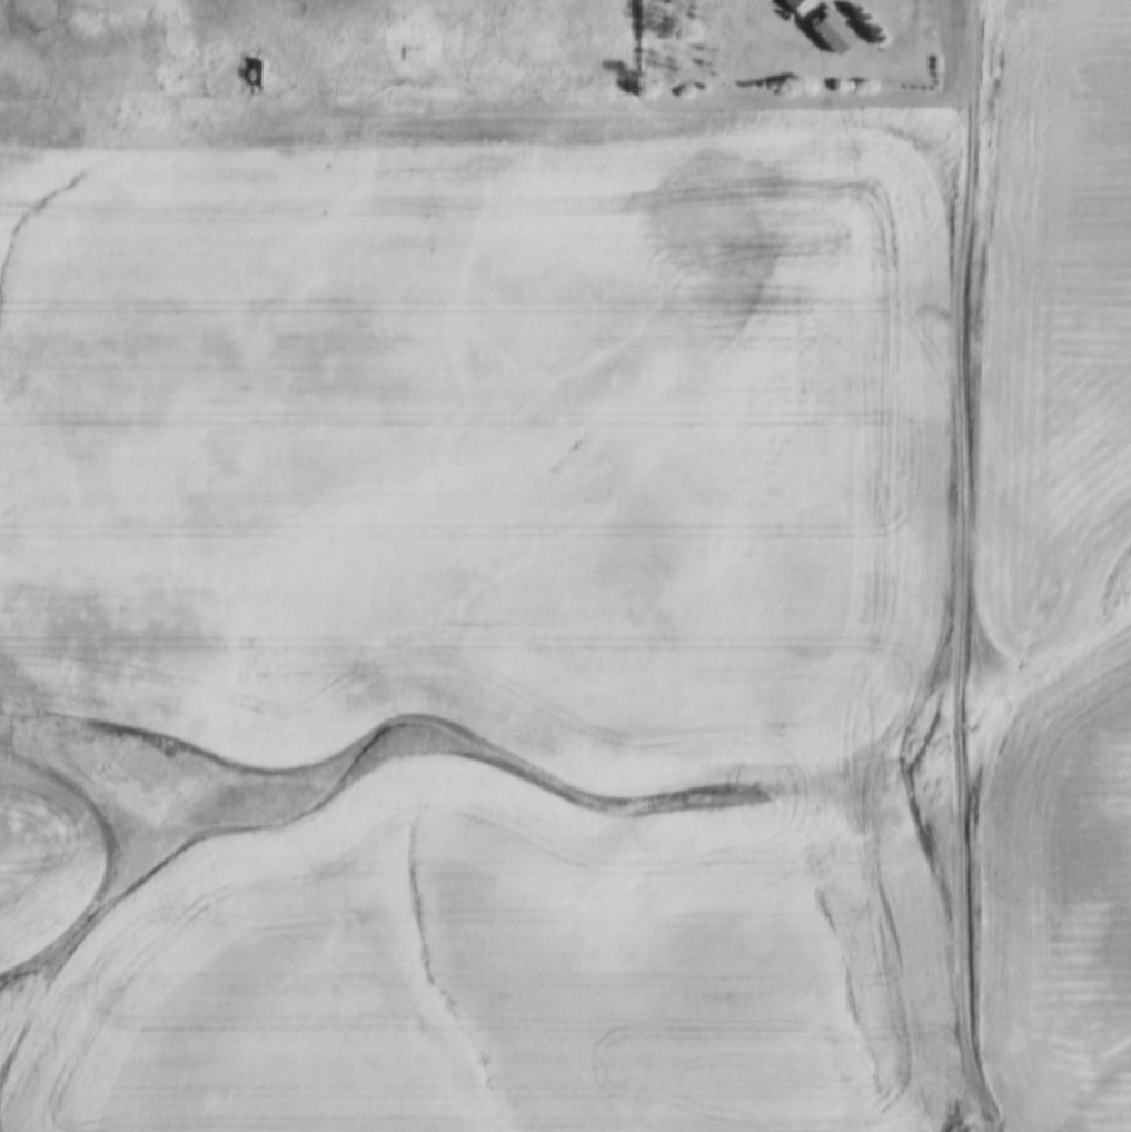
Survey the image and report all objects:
building: (797, 3)
building: (829, 28)
building: (258, 67)
road: (487, 113)
road: (963, 566)

